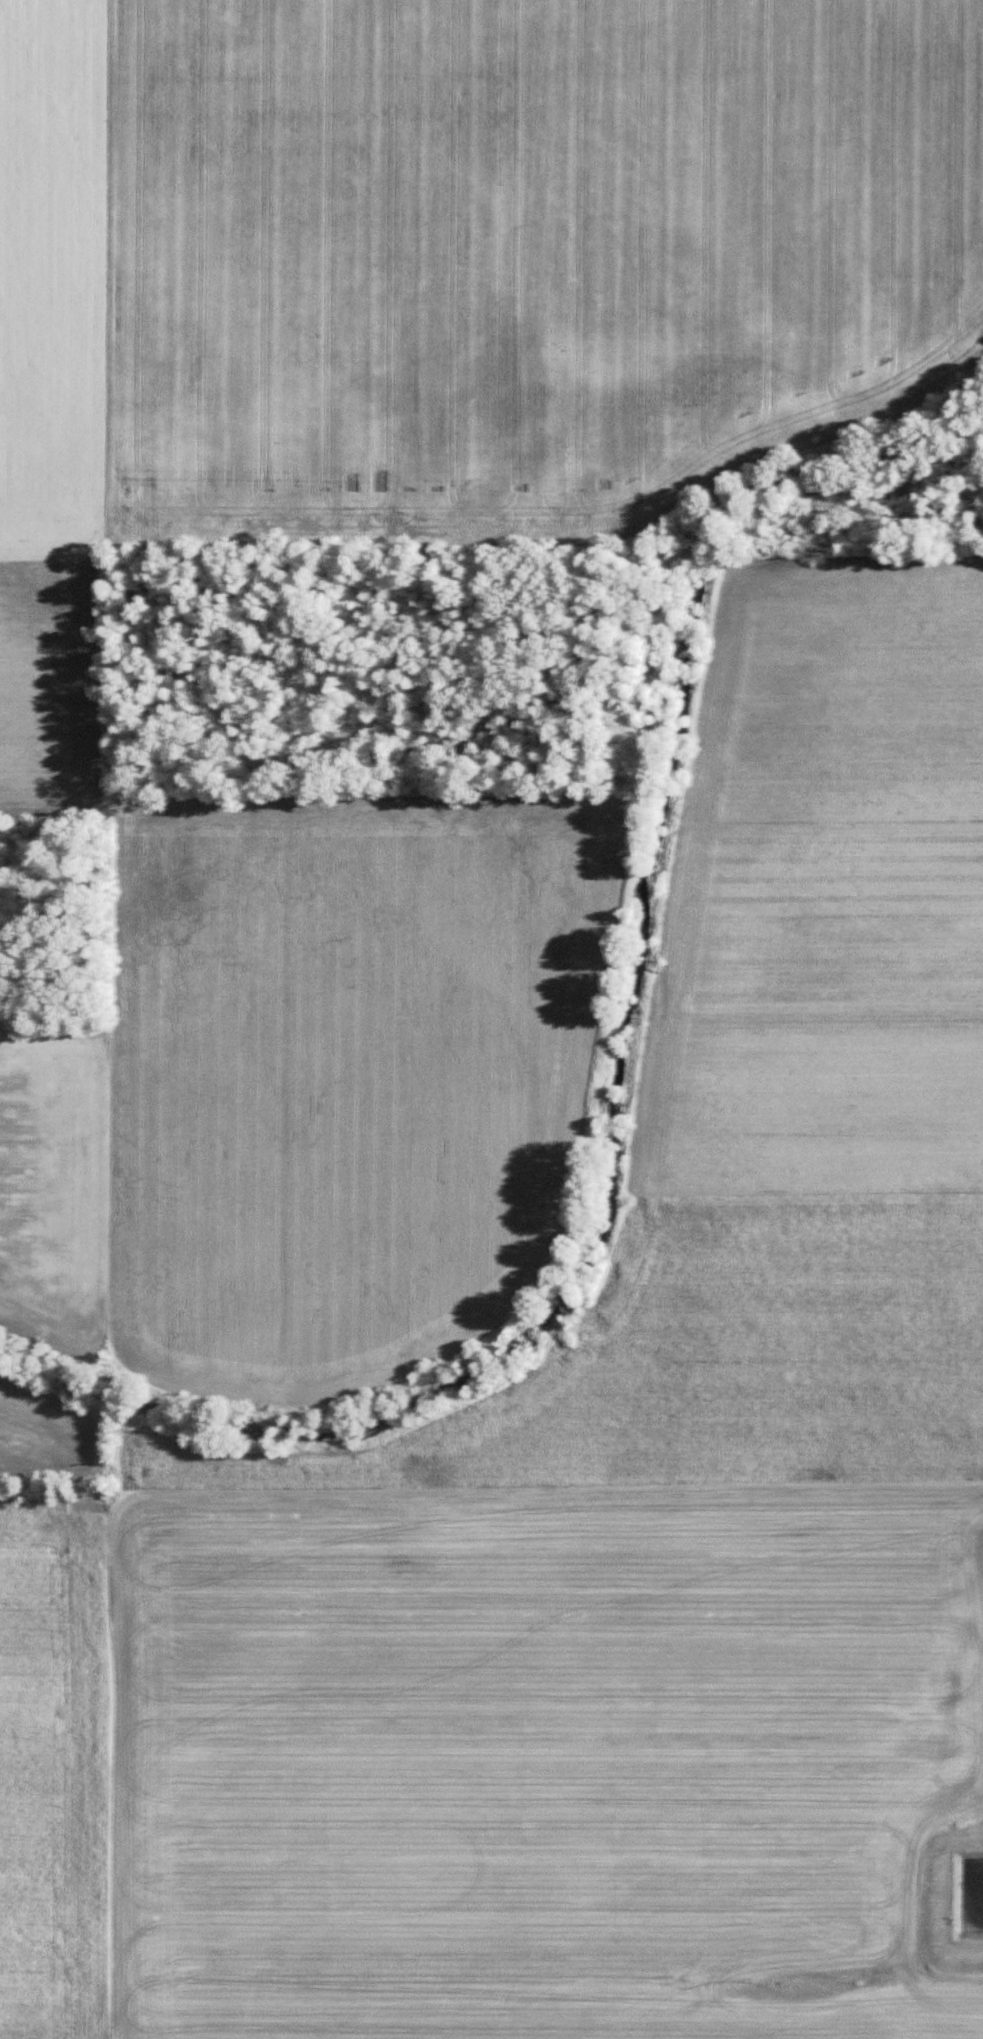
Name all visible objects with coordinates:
river: (614, 1069)

